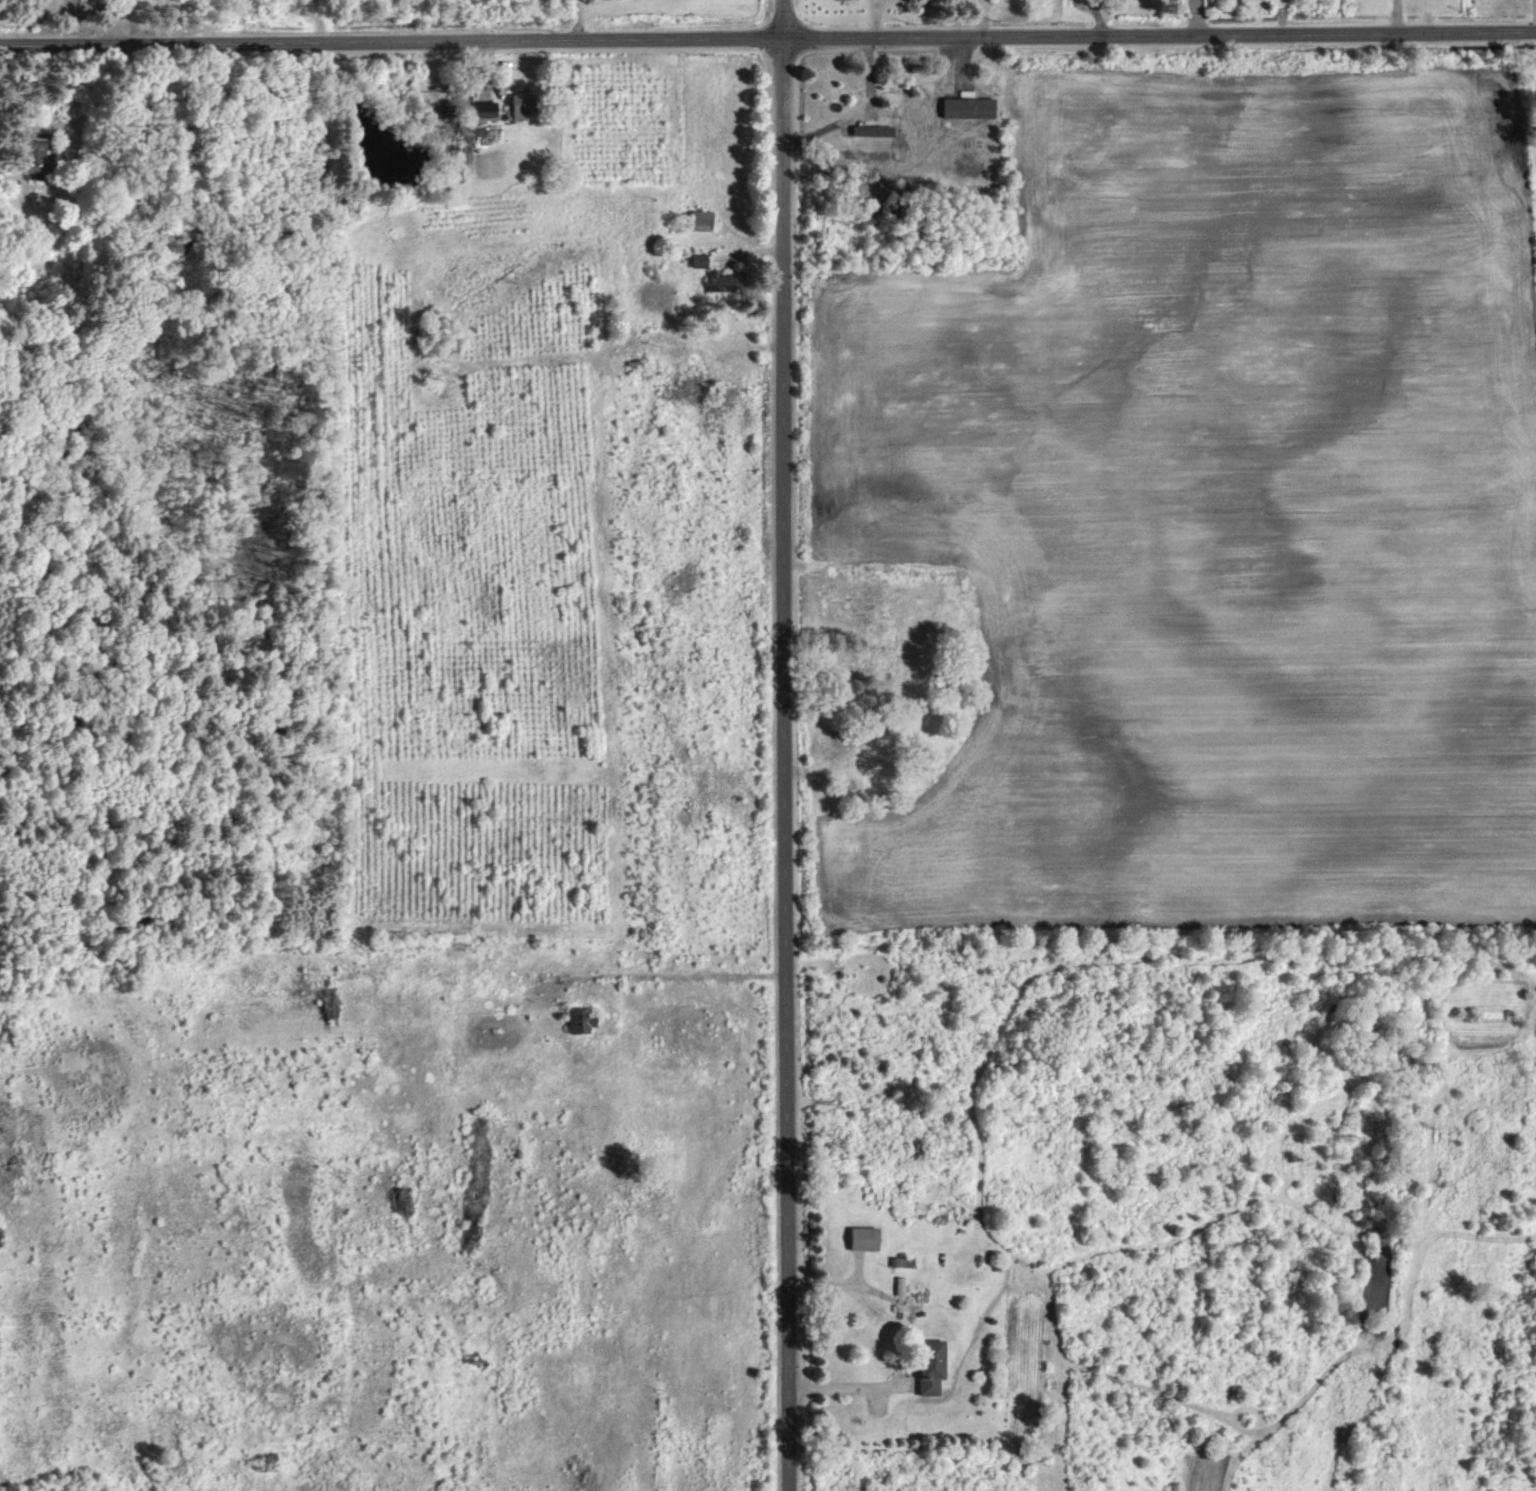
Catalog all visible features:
road: (1100, 18)
road: (576, 19)
road: (768, 40)
building: (522, 104)
building: (969, 107)
building: (486, 108)
building: (873, 130)
building: (34, 149)
building: (701, 220)
building: (699, 259)
building: (726, 278)
road: (786, 745)
road: (674, 975)
building: (578, 1021)
building: (865, 1238)
building: (932, 1365)
road: (849, 1379)

